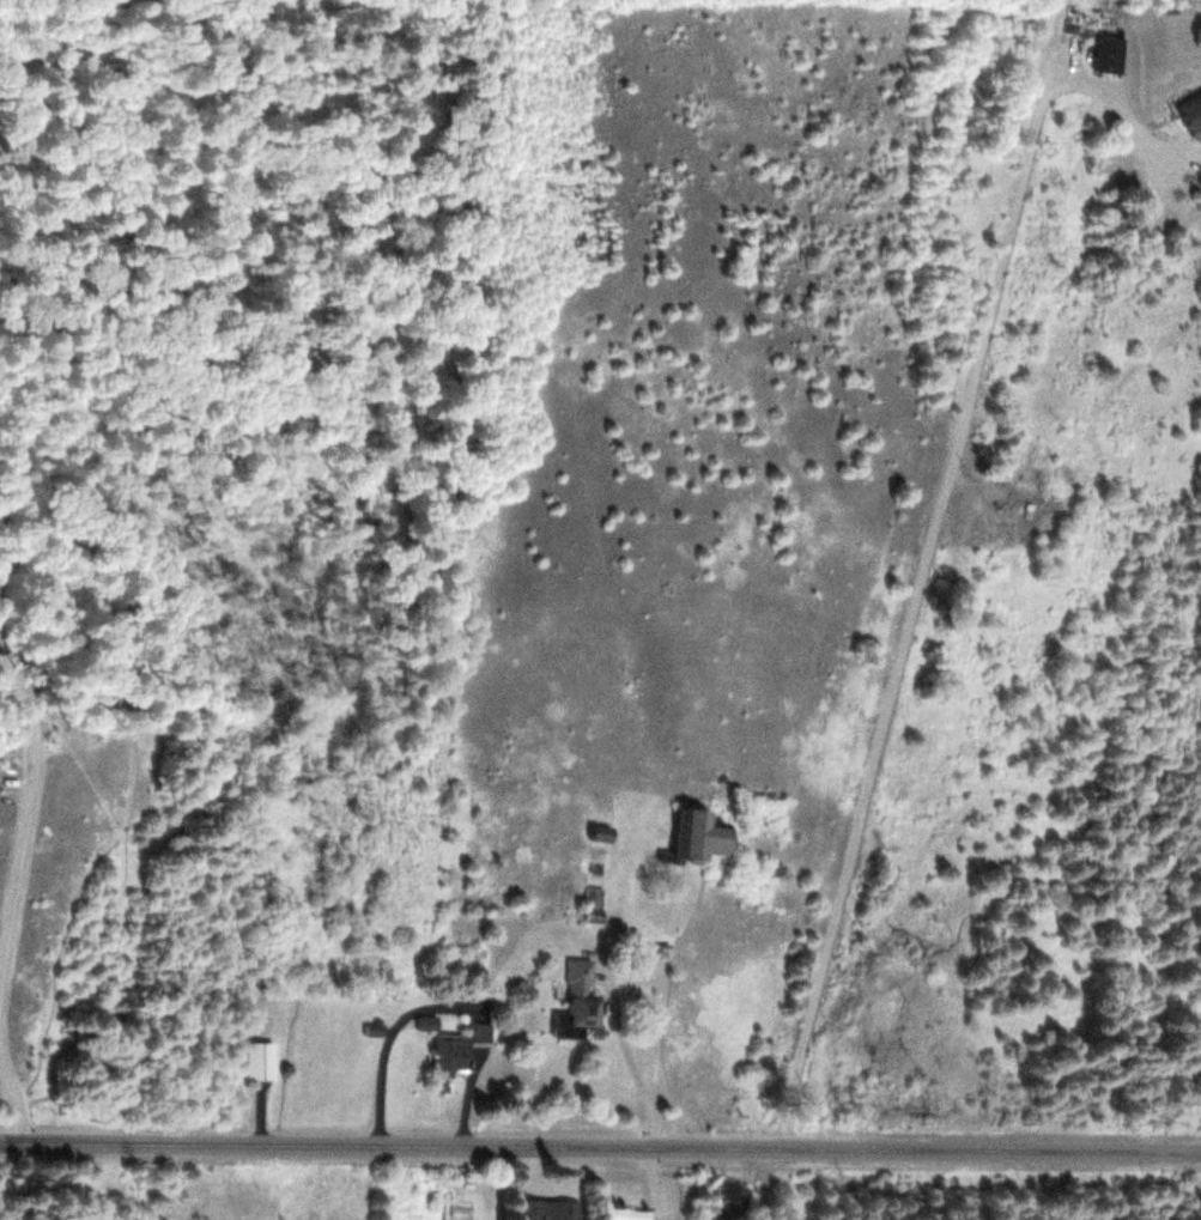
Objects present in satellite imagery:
building: (1105, 53)
building: (1185, 110)
road: (26, 826)
building: (592, 832)
building: (685, 836)
building: (587, 904)
building: (566, 1001)
building: (447, 1054)
building: (261, 1061)
road: (14, 1100)
road: (600, 1143)
building: (717, 1202)
building: (540, 1209)
building: (617, 1213)

